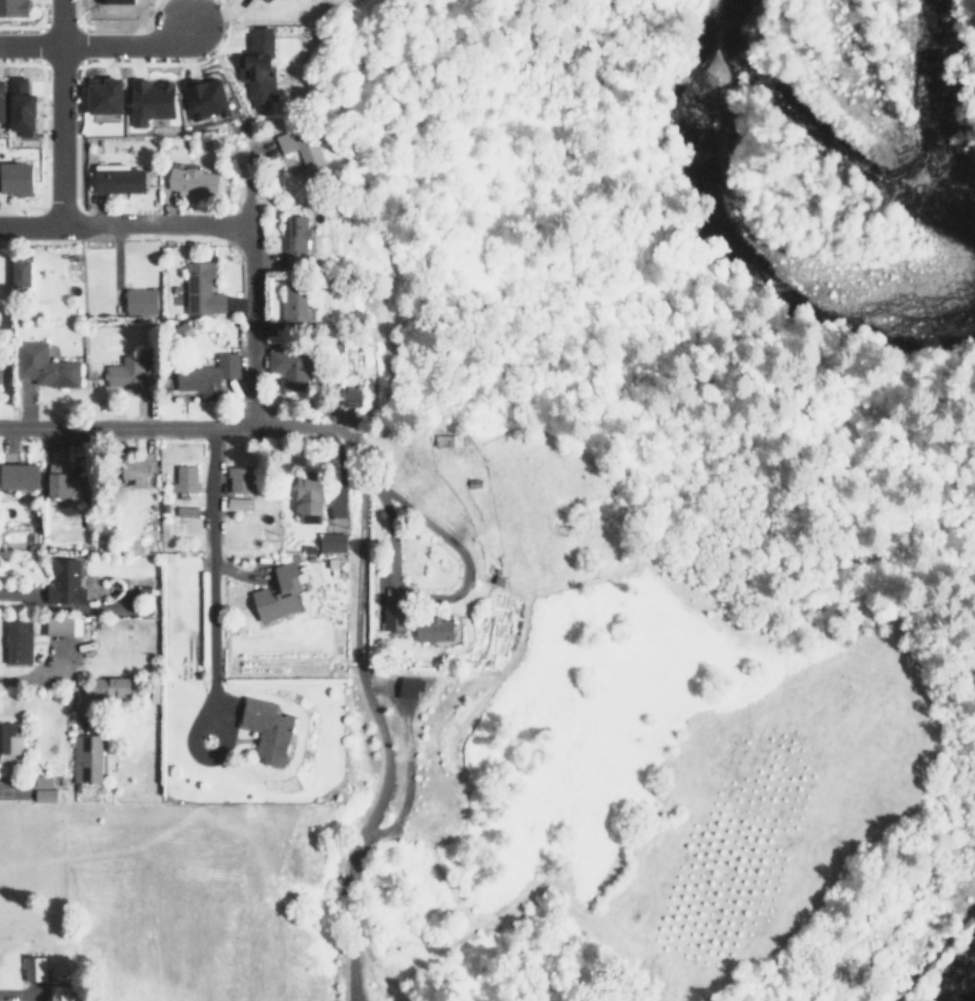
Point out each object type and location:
building: (124, 0)
building: (15, 6)
road: (57, 24)
road: (110, 26)
road: (31, 27)
road: (95, 44)
road: (79, 45)
road: (36, 46)
building: (260, 56)
road: (135, 63)
building: (113, 89)
building: (206, 89)
building: (157, 92)
building: (1, 101)
building: (19, 103)
road: (58, 111)
road: (73, 133)
road: (37, 134)
building: (311, 160)
building: (17, 176)
building: (128, 176)
building: (201, 178)
road: (42, 203)
road: (123, 222)
road: (38, 240)
building: (293, 242)
river: (727, 252)
building: (18, 274)
building: (199, 288)
road: (251, 299)
building: (139, 300)
building: (292, 301)
building: (291, 363)
building: (45, 368)
building: (205, 369)
building: (129, 373)
building: (1, 376)
building: (351, 397)
road: (168, 426)
building: (444, 440)
building: (131, 469)
building: (18, 475)
building: (184, 477)
building: (238, 478)
building: (63, 481)
building: (309, 498)
building: (239, 502)
building: (331, 542)
road: (210, 576)
building: (67, 580)
building: (281, 594)
building: (387, 615)
building: (56, 623)
building: (432, 628)
building: (16, 640)
building: (413, 686)
building: (113, 687)
building: (264, 724)
building: (9, 743)
building: (87, 756)
building: (46, 794)
road: (939, 955)
road: (939, 955)
building: (37, 968)
building: (64, 994)

